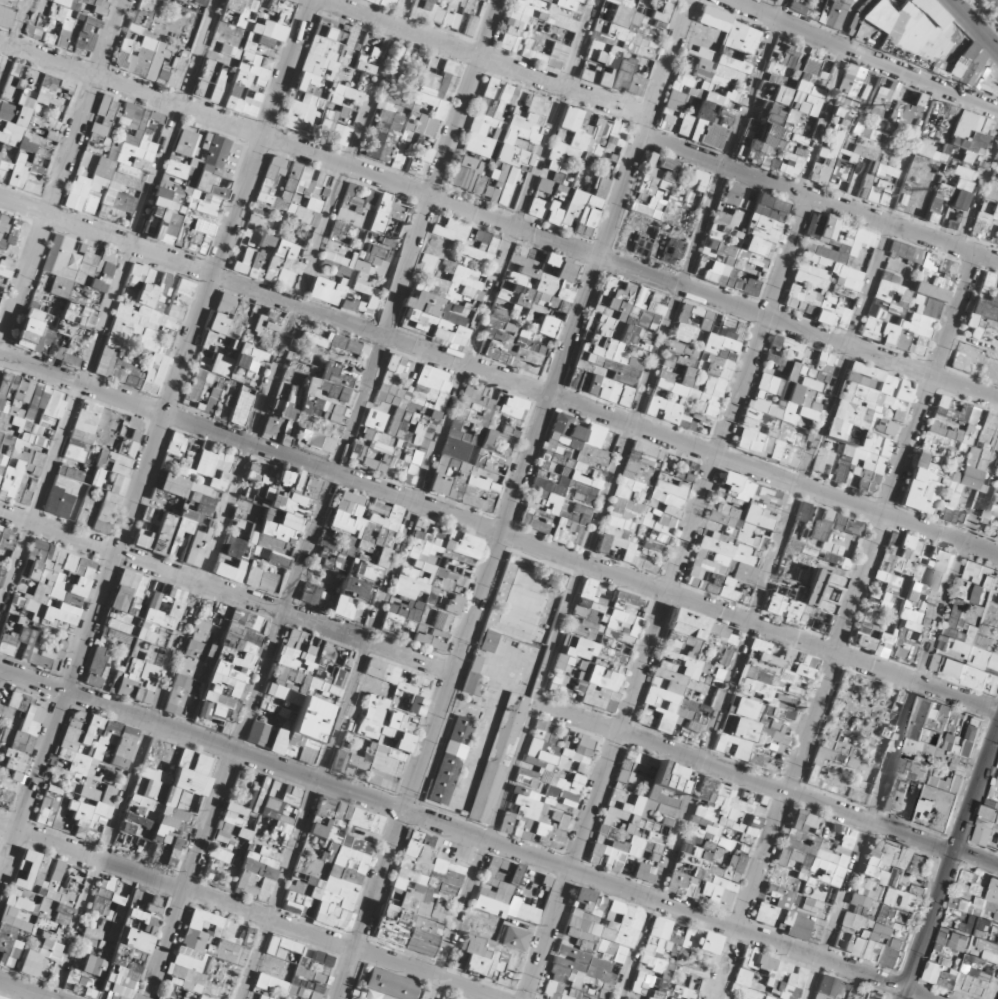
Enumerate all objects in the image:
road: (735, 0)
road: (995, 2)
building: (378, 4)
building: (619, 11)
road: (397, 13)
building: (59, 22)
road: (18, 23)
road: (970, 27)
building: (541, 29)
road: (110, 38)
building: (244, 53)
building: (142, 54)
road: (484, 55)
building: (698, 59)
road: (864, 59)
building: (615, 69)
building: (335, 79)
building: (705, 106)
building: (18, 107)
building: (421, 110)
building: (785, 118)
road: (820, 122)
road: (544, 142)
building: (538, 151)
road: (910, 155)
building: (962, 169)
road: (976, 183)
building: (80, 188)
building: (190, 195)
building: (314, 201)
road: (818, 201)
building: (357, 221)
road: (498, 221)
building: (271, 225)
building: (839, 228)
building: (742, 243)
building: (7, 244)
road: (680, 280)
building: (811, 284)
building: (328, 287)
building: (68, 289)
road: (108, 307)
building: (906, 310)
building: (425, 315)
building: (138, 316)
building: (532, 317)
building: (249, 322)
building: (618, 338)
road: (189, 345)
building: (695, 365)
building: (799, 382)
building: (869, 403)
building: (243, 404)
building: (328, 409)
building: (752, 436)
building: (953, 451)
building: (480, 456)
building: (215, 459)
building: (657, 476)
road: (512, 498)
road: (324, 499)
building: (992, 515)
building: (843, 545)
building: (404, 564)
building: (906, 592)
road: (666, 598)
road: (752, 611)
road: (845, 626)
building: (972, 629)
building: (734, 644)
building: (597, 647)
road: (904, 721)
building: (947, 736)
building: (852, 737)
building: (674, 770)
building: (916, 799)
building: (632, 817)
building: (987, 827)
building: (813, 838)
building: (888, 860)
road: (948, 860)
building: (690, 868)
building: (868, 926)
building: (847, 990)

